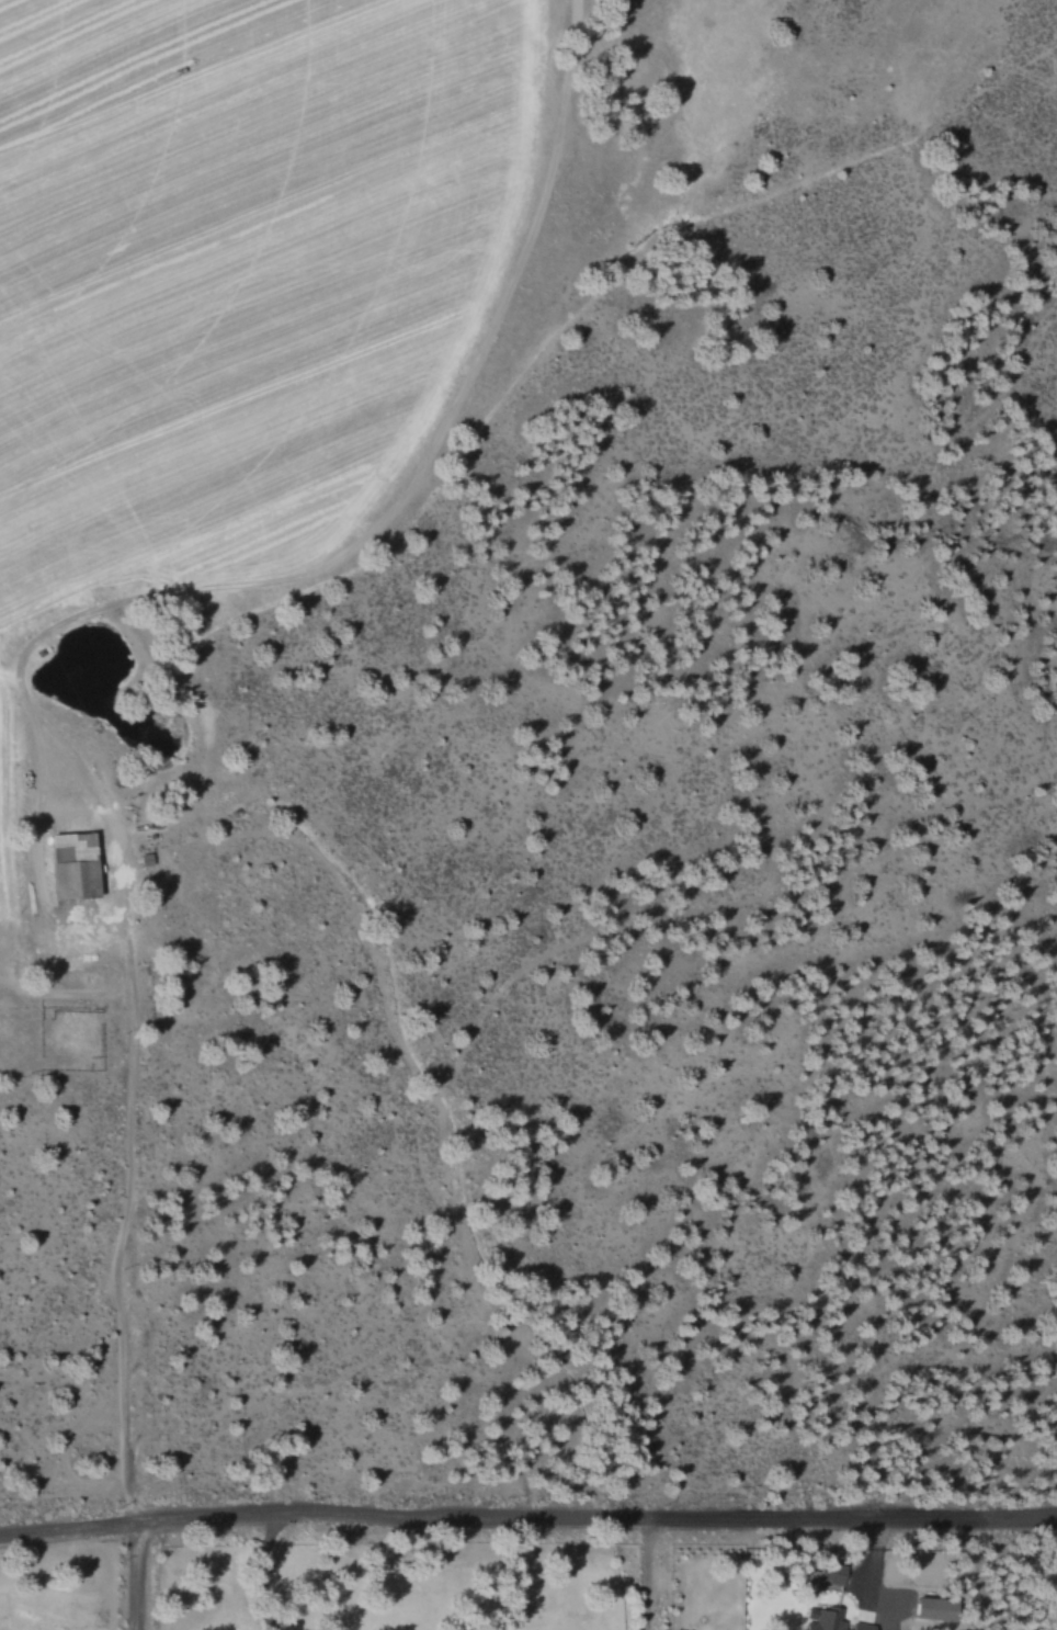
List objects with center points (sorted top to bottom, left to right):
building: (73, 863)
road: (527, 1516)
road: (134, 1572)
building: (933, 1607)

